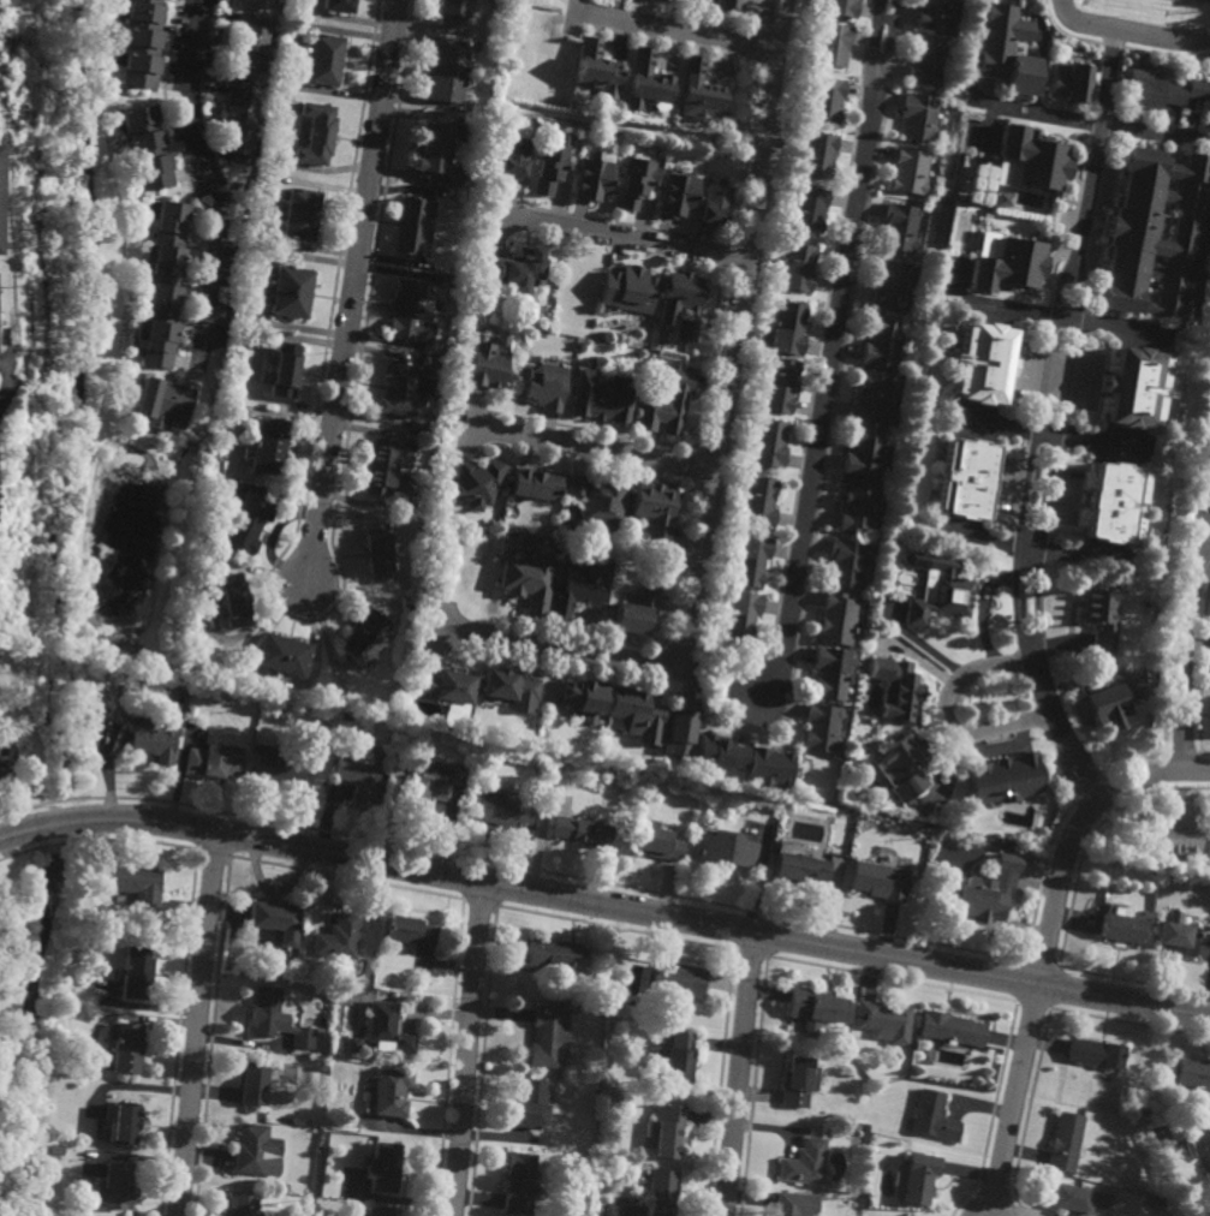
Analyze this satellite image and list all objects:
building: (661, 1)
building: (543, 2)
building: (220, 4)
building: (258, 4)
building: (340, 6)
building: (729, 6)
building: (840, 8)
building: (454, 12)
building: (935, 16)
road: (767, 22)
road: (781, 24)
road: (675, 30)
road: (1129, 32)
road: (871, 38)
road: (890, 40)
building: (142, 44)
building: (833, 46)
building: (1006, 52)
building: (324, 61)
building: (926, 65)
building: (596, 72)
building: (447, 74)
building: (645, 83)
building: (1068, 85)
building: (244, 89)
building: (1196, 90)
building: (1150, 91)
building: (698, 95)
building: (824, 100)
building: (1208, 113)
building: (919, 118)
road: (1079, 121)
building: (316, 136)
building: (147, 150)
building: (441, 153)
building: (514, 155)
building: (816, 156)
building: (550, 165)
building: (1026, 165)
building: (908, 173)
road: (209, 180)
building: (591, 183)
building: (633, 185)
building: (676, 198)
building: (973, 199)
building: (714, 208)
building: (809, 209)
building: (300, 217)
building: (416, 227)
building: (901, 228)
road: (620, 237)
building: (1160, 237)
building: (1005, 258)
building: (517, 264)
building: (798, 264)
building: (446, 278)
building: (893, 284)
building: (163, 286)
building: (628, 287)
road: (352, 288)
building: (290, 290)
building: (681, 302)
building: (413, 314)
building: (788, 327)
building: (883, 340)
road: (732, 357)
building: (431, 360)
building: (980, 360)
building: (487, 362)
building: (284, 368)
building: (781, 382)
building: (547, 385)
building: (1137, 386)
road: (825, 387)
building: (404, 389)
building: (874, 394)
building: (601, 398)
building: (162, 399)
building: (668, 404)
road: (1053, 419)
building: (422, 425)
building: (1206, 435)
building: (769, 442)
building: (268, 445)
road: (589, 447)
building: (865, 451)
building: (383, 467)
building: (966, 477)
building: (476, 482)
building: (537, 482)
building: (600, 500)
building: (759, 501)
building: (1115, 502)
building: (859, 505)
building: (655, 512)
building: (248, 523)
building: (379, 553)
building: (750, 560)
building: (847, 562)
building: (529, 580)
building: (937, 589)
building: (577, 590)
building: (233, 600)
building: (892, 602)
building: (637, 613)
building: (740, 616)
building: (1101, 616)
building: (838, 619)
building: (366, 638)
road: (555, 646)
road: (1185, 650)
building: (282, 655)
building: (864, 664)
building: (830, 673)
building: (447, 687)
building: (512, 689)
building: (898, 691)
building: (582, 695)
building: (1113, 703)
building: (636, 714)
road: (947, 714)
building: (345, 717)
building: (821, 728)
building: (680, 729)
building: (156, 737)
building: (719, 755)
building: (214, 762)
building: (902, 765)
building: (280, 768)
building: (769, 768)
building: (358, 771)
building: (1007, 779)
building: (430, 785)
building: (496, 810)
building: (580, 833)
building: (1179, 839)
building: (658, 842)
building: (727, 851)
building: (800, 870)
building: (881, 881)
building: (139, 890)
building: (983, 895)
road: (604, 906)
building: (276, 922)
building: (1121, 930)
building: (410, 932)
building: (1179, 937)
building: (339, 938)
road: (1047, 944)
building: (556, 958)
building: (138, 973)
building: (678, 982)
building: (670, 1006)
building: (816, 1009)
building: (278, 1020)
building: (883, 1023)
road: (199, 1024)
building: (952, 1030)
building: (387, 1031)
building: (547, 1036)
building: (352, 1047)
building: (130, 1048)
road: (469, 1049)
building: (1095, 1054)
building: (675, 1056)
road: (739, 1075)
building: (1194, 1077)
building: (800, 1080)
building: (255, 1081)
building: (391, 1090)
building: (530, 1103)
building: (1142, 1111)
building: (932, 1116)
building: (126, 1121)
building: (667, 1129)
building: (1065, 1140)
building: (1199, 1143)
building: (255, 1146)
building: (58, 1151)
building: (806, 1162)
building: (382, 1166)
building: (918, 1176)
building: (519, 1182)
building: (117, 1186)
building: (661, 1190)
building: (1069, 1198)
building: (797, 1203)
building: (242, 1204)
building: (380, 1210)
building: (359, 1215)

